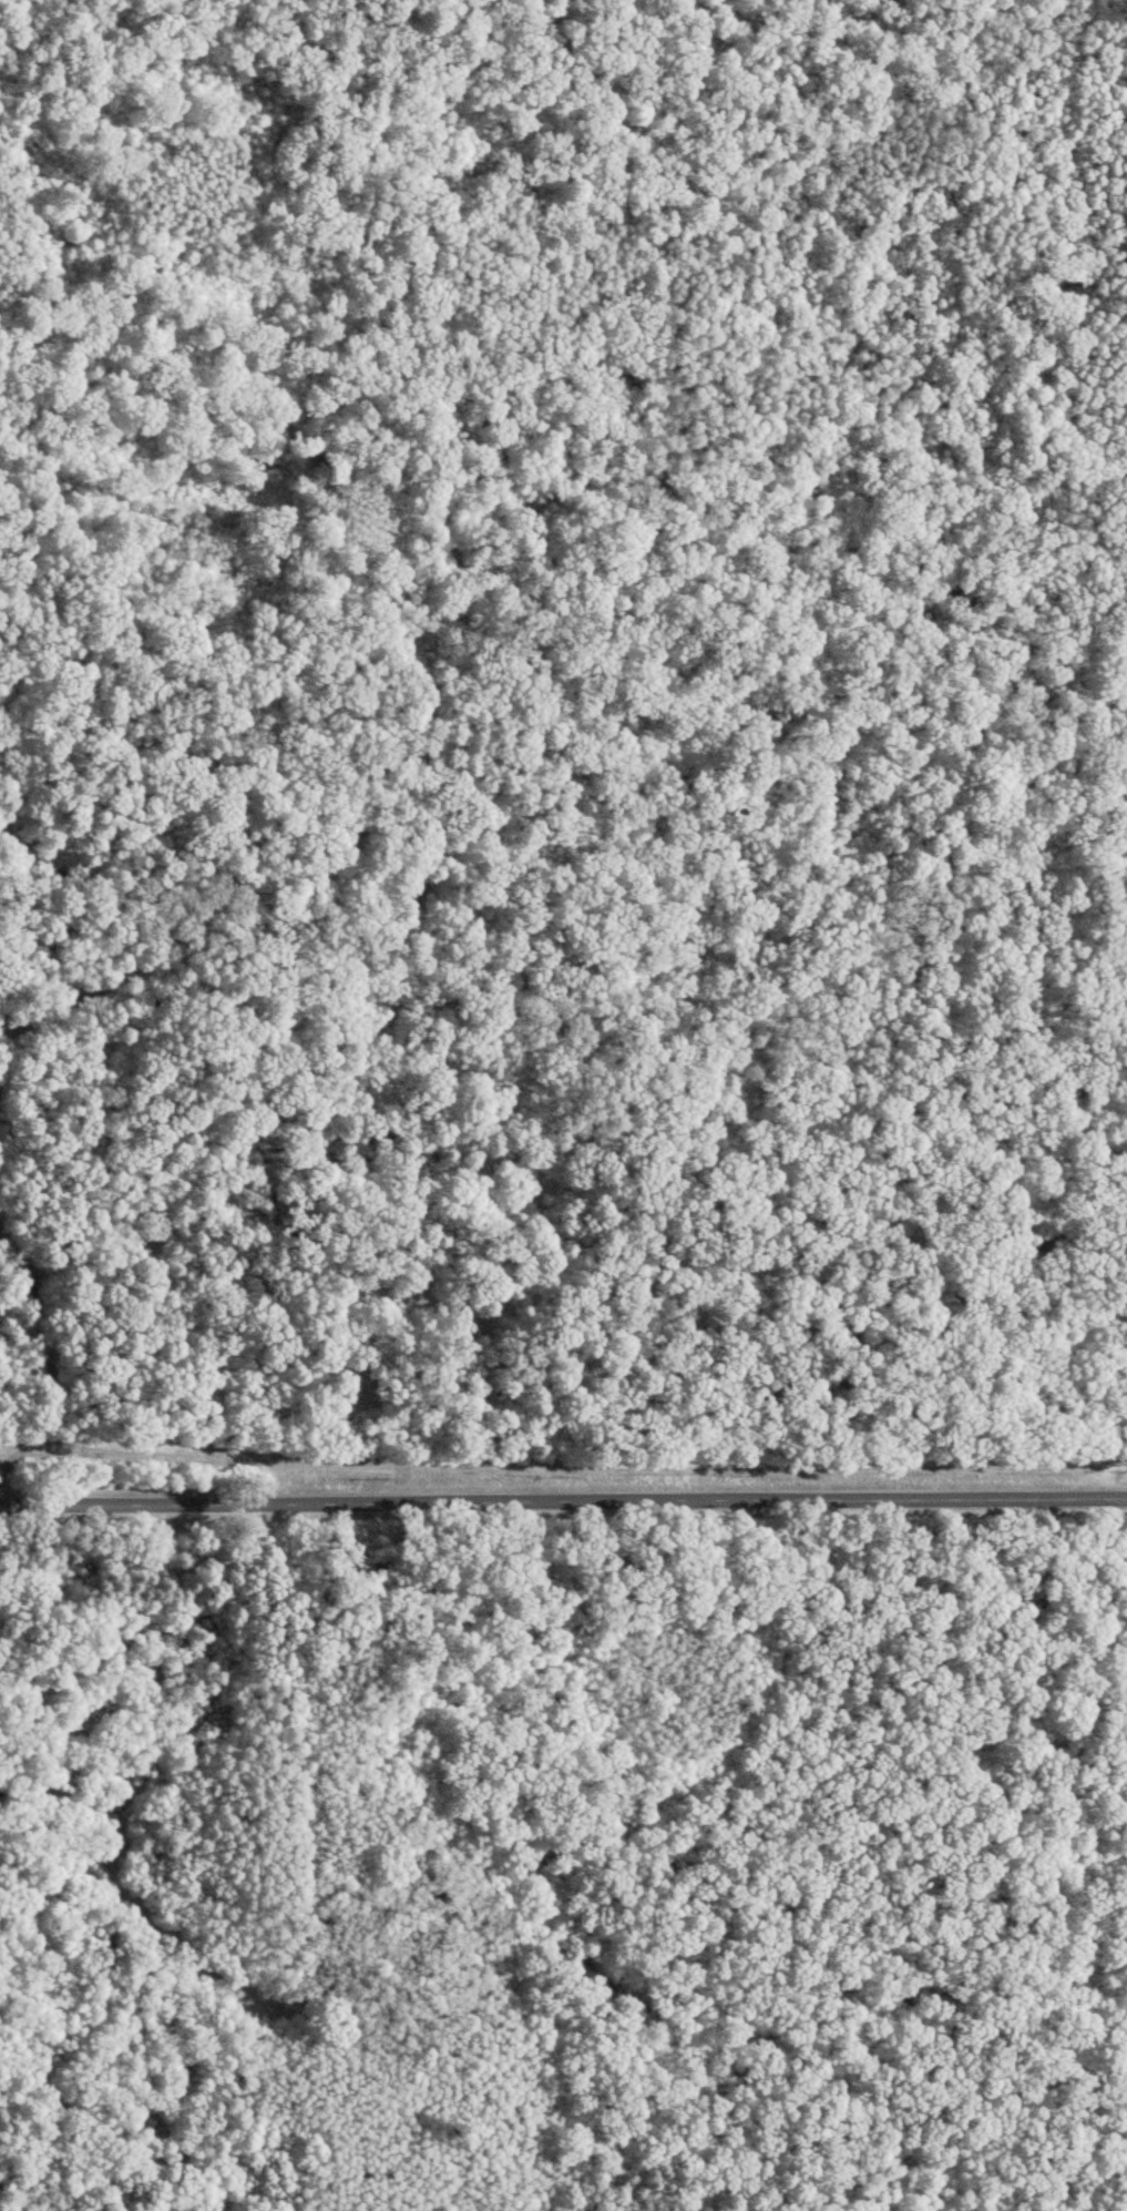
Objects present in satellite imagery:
road: (573, 877)
road: (1, 1038)
road: (41, 1351)
road: (563, 1497)

